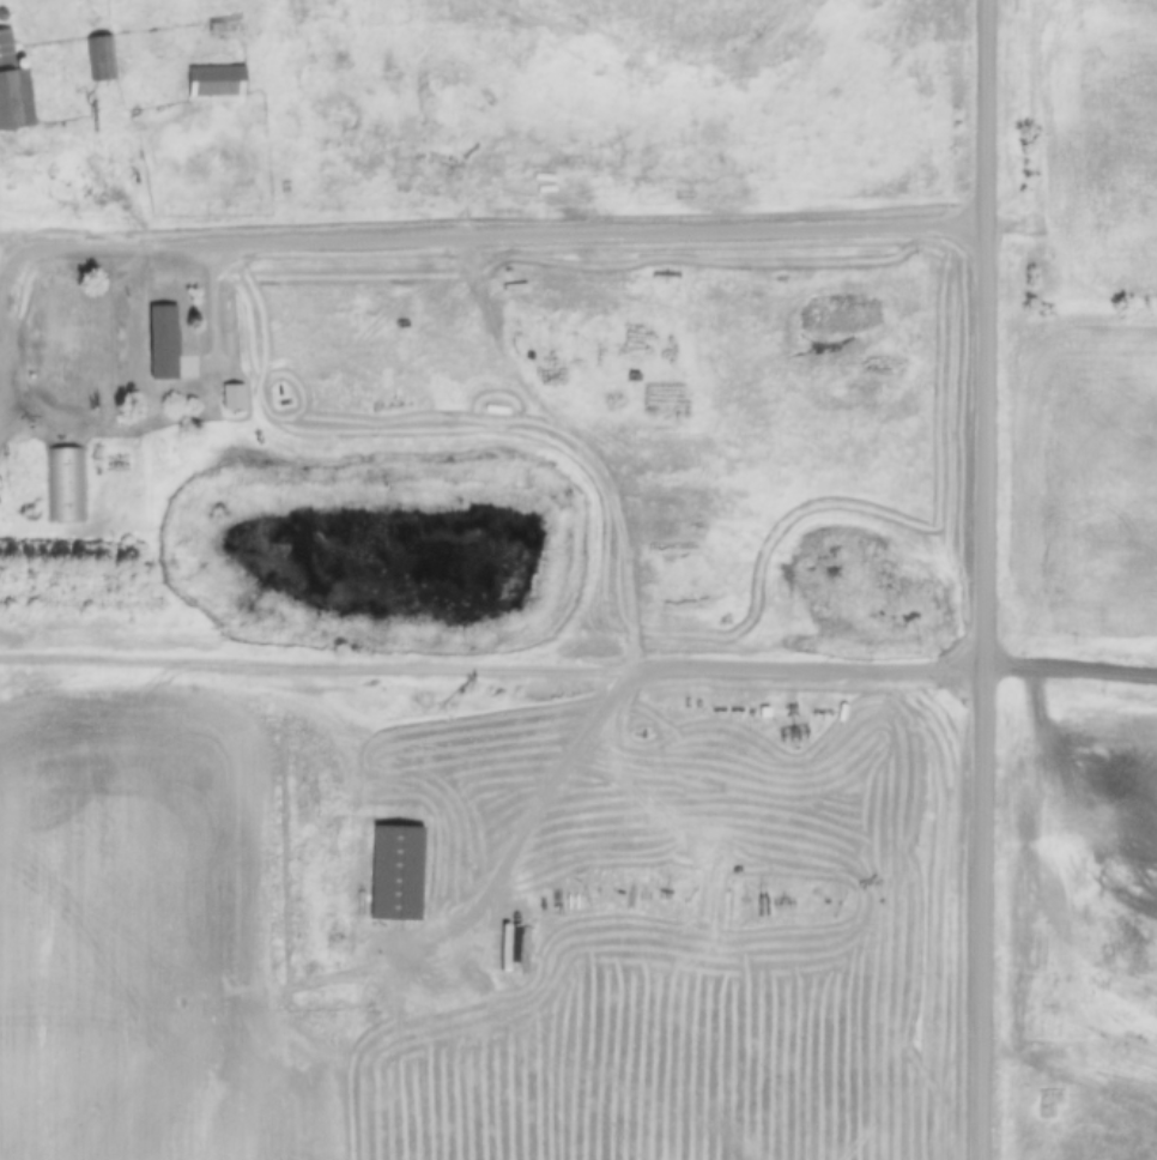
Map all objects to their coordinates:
building: (98, 56)
building: (212, 80)
building: (13, 87)
road: (86, 135)
road: (495, 244)
road: (5, 276)
building: (860, 285)
road: (212, 304)
building: (164, 345)
road: (8, 367)
building: (234, 395)
road: (612, 435)
building: (66, 484)
road: (986, 579)
road: (492, 672)
road: (1071, 673)
road: (546, 795)
road: (1067, 1076)

